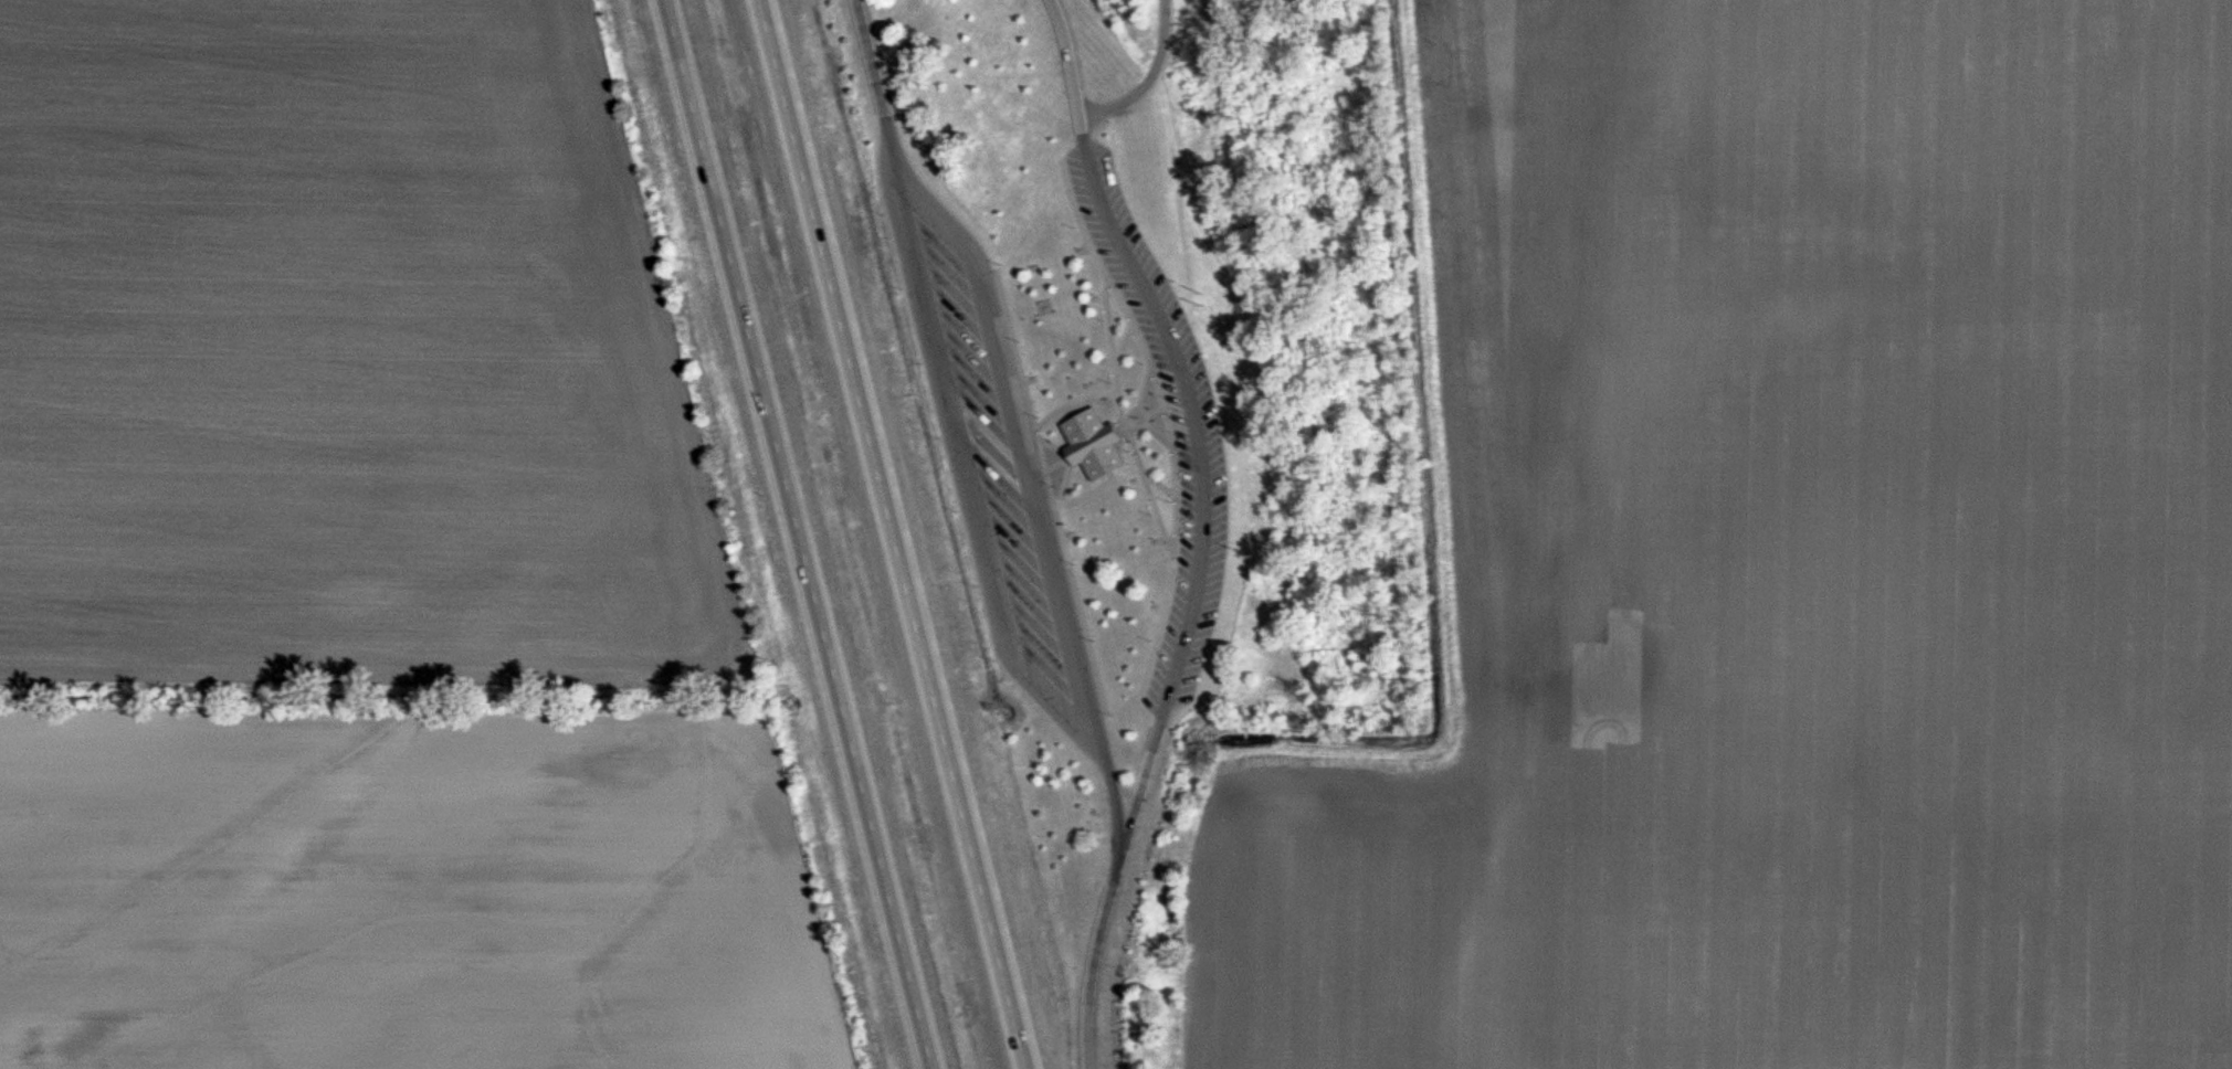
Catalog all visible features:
road: (1149, 78)
road: (1124, 347)
road: (1113, 352)
road: (1145, 387)
road: (1073, 403)
road: (1136, 410)
road: (1157, 412)
road: (1015, 415)
road: (1196, 421)
road: (1167, 422)
road: (1125, 427)
road: (1160, 435)
parking lot: (1199, 438)
building: (1093, 444)
parking lot: (992, 453)
road: (1065, 456)
road: (966, 475)
road: (1160, 485)
road: (1064, 486)
road: (1052, 490)
road: (1149, 491)
road: (1092, 493)
road: (792, 534)
road: (892, 534)
road: (1094, 962)

